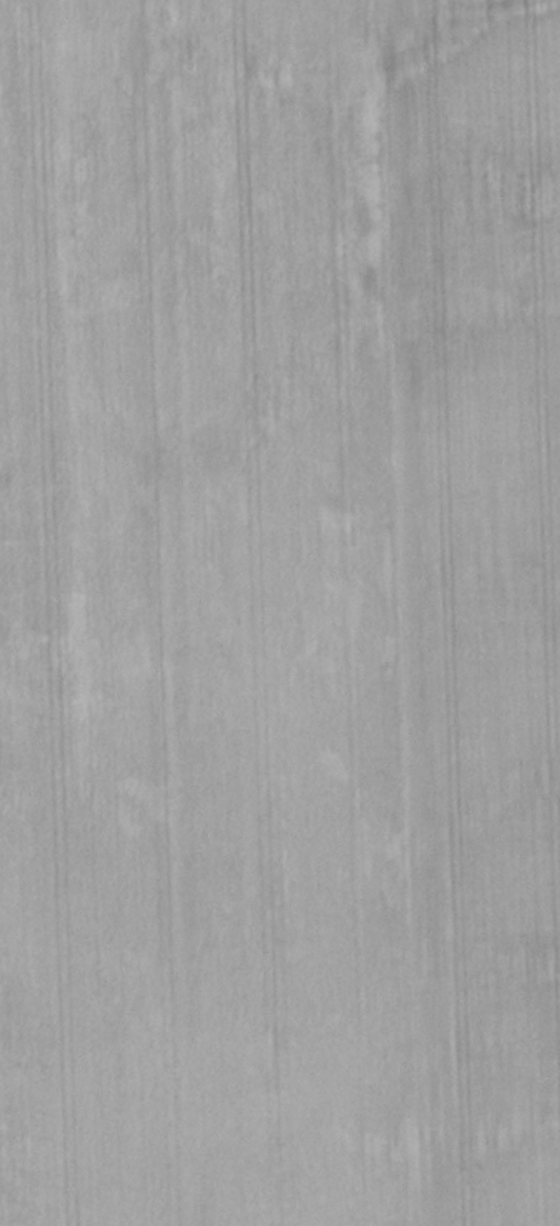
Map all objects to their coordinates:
crop: (280, 612)

